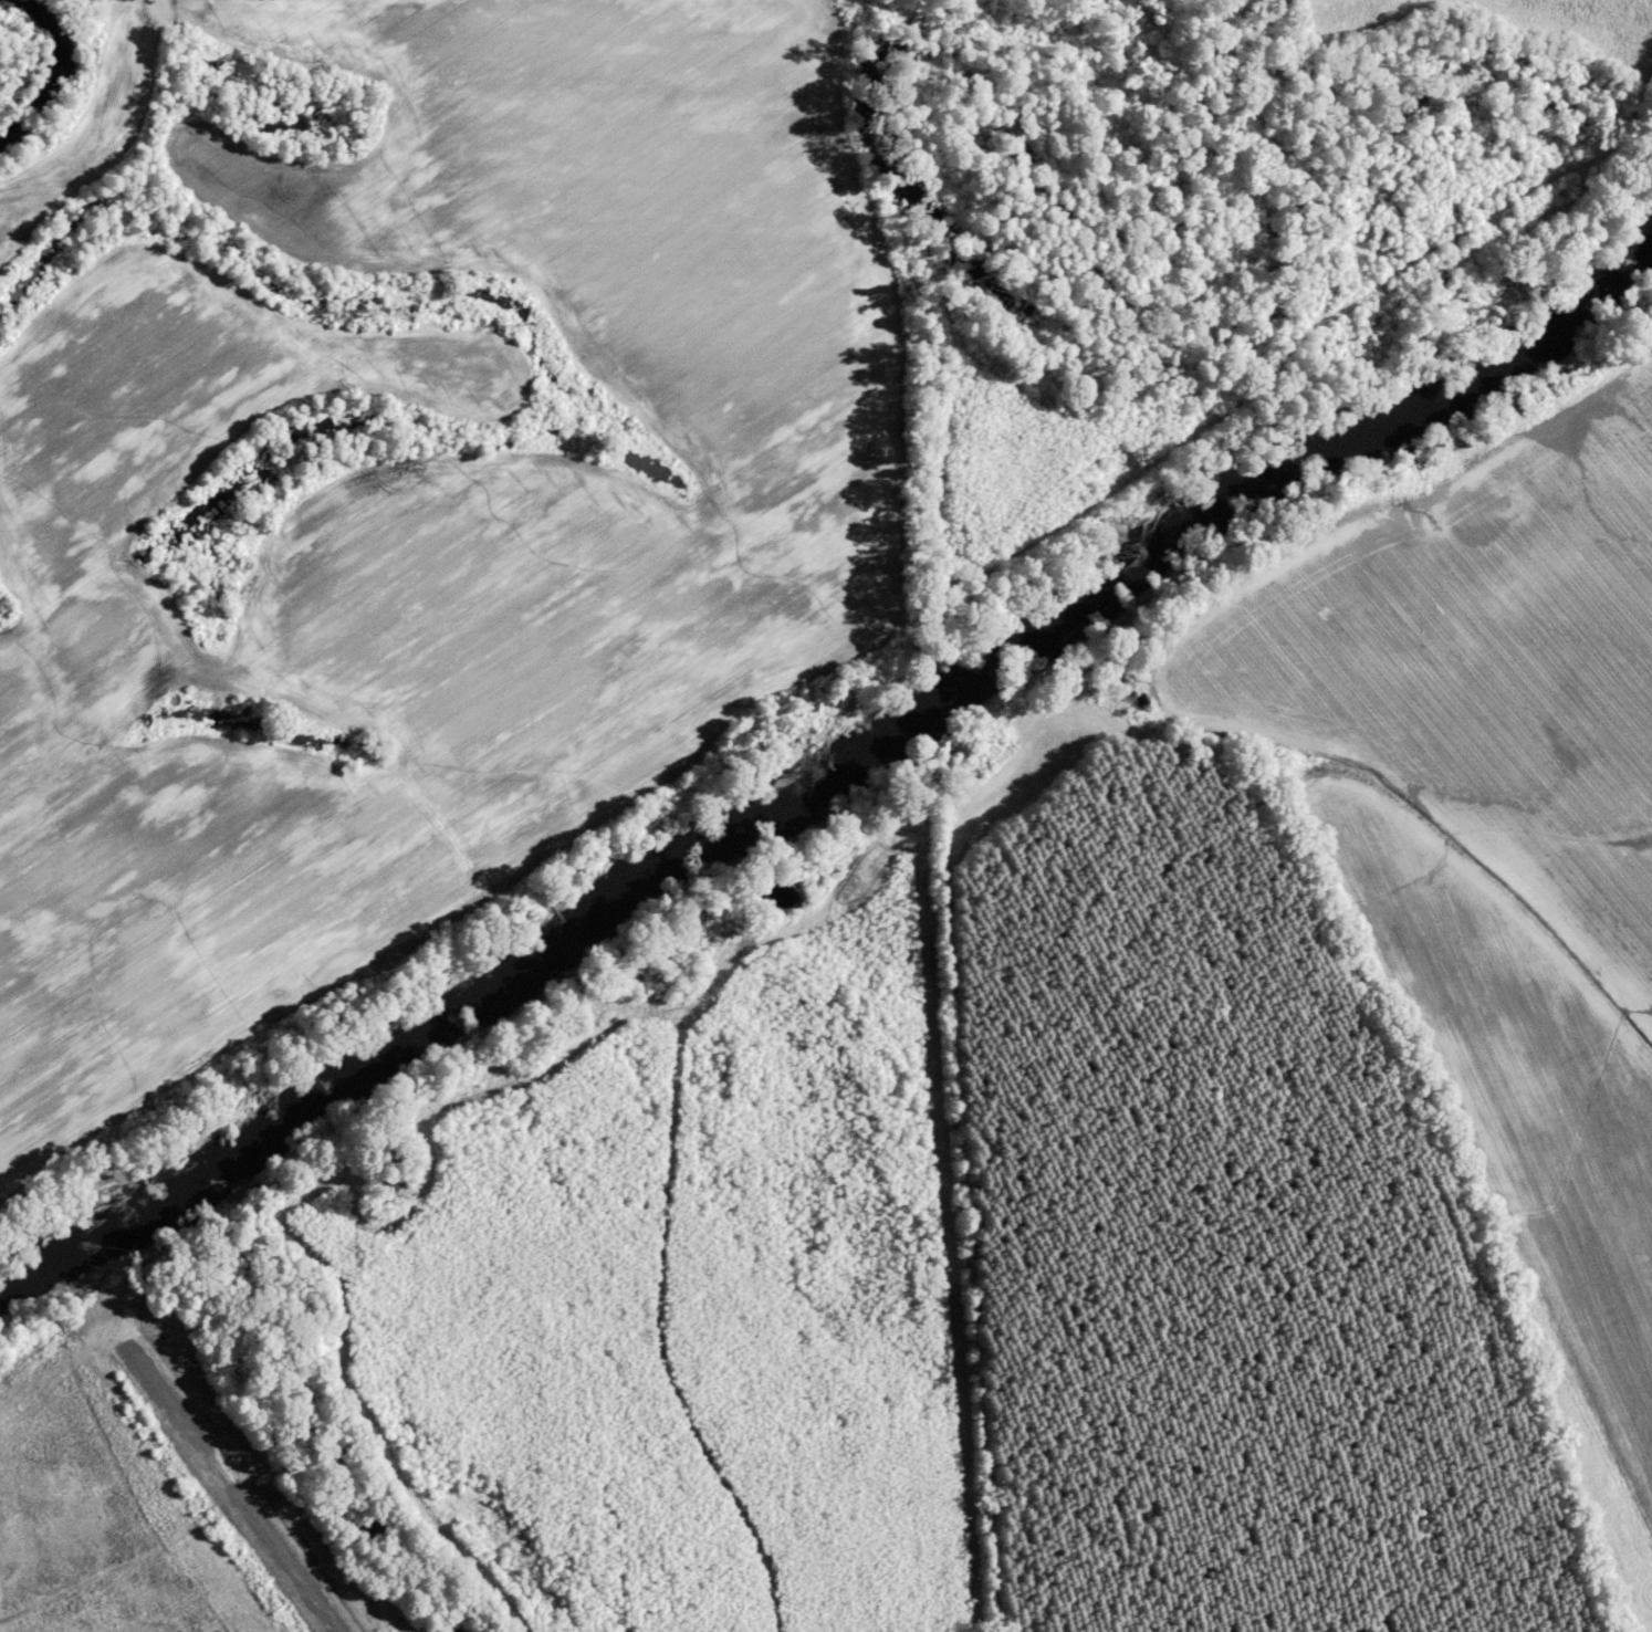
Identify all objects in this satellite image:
river: (828, 765)

